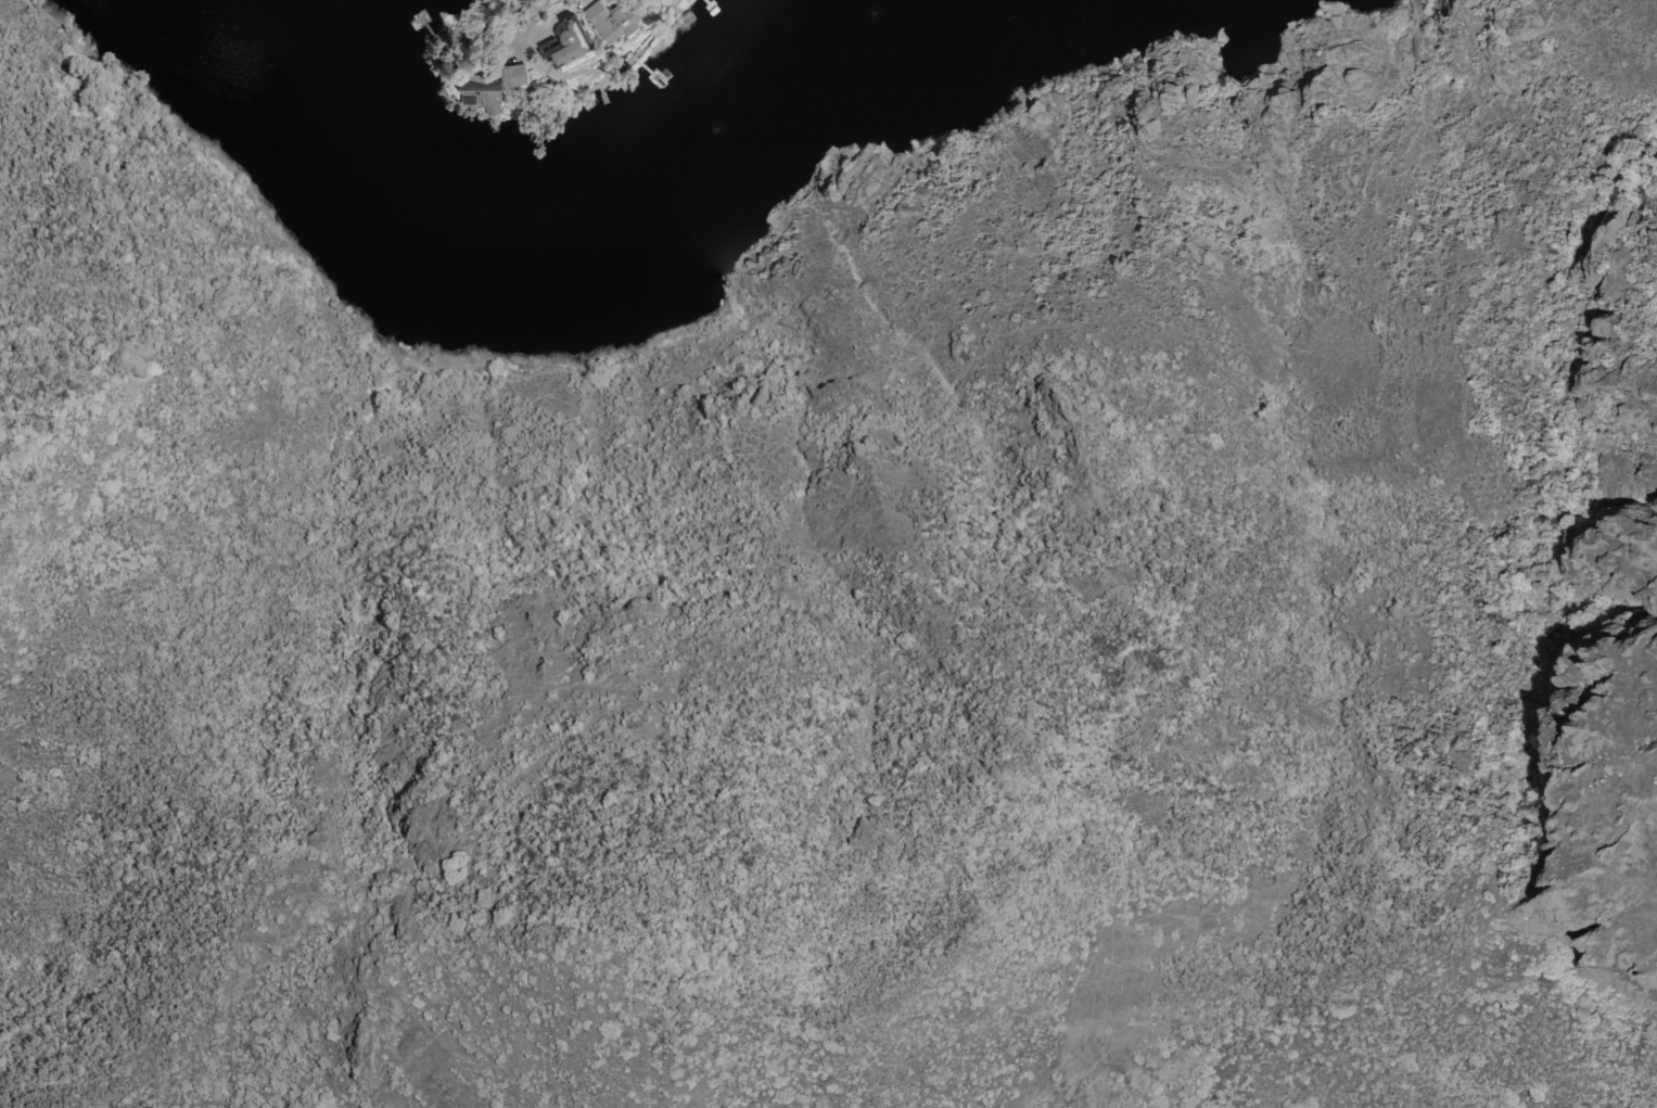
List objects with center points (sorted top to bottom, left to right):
road: (534, 4)
building: (611, 13)
building: (563, 36)
building: (490, 81)

